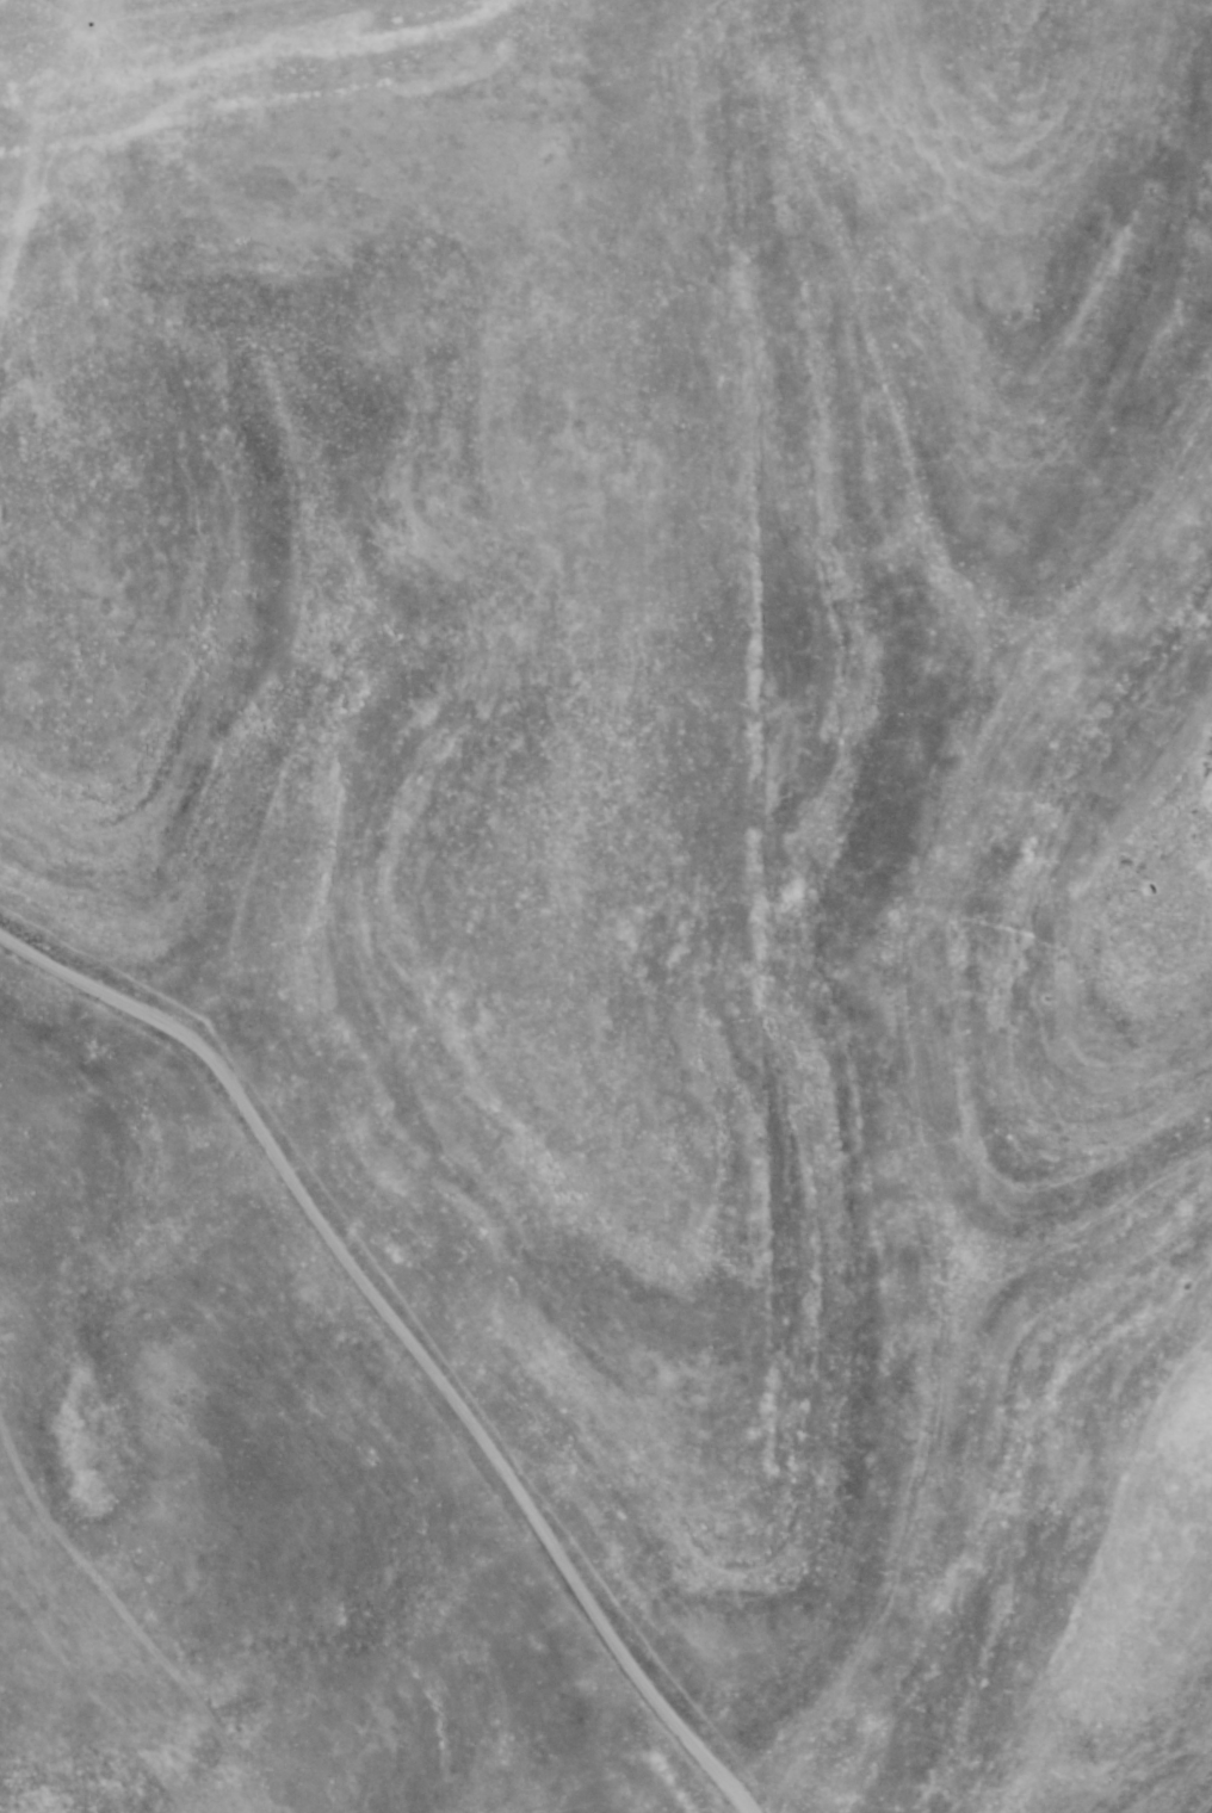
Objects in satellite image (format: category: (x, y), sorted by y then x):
road: (406, 1339)

